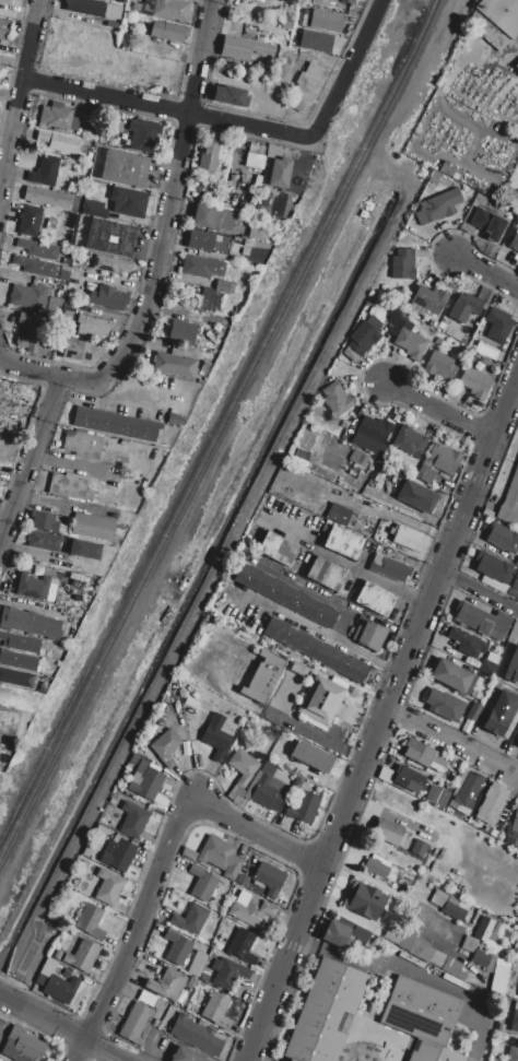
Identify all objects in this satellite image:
building: (13, 0)
building: (251, 0)
building: (258, 0)
building: (118, 1)
building: (5, 2)
building: (349, 2)
building: (85, 8)
building: (164, 9)
building: (501, 14)
building: (326, 21)
building: (111, 25)
building: (4, 30)
building: (167, 32)
building: (315, 42)
building: (243, 48)
railway: (414, 56)
building: (0, 58)
building: (517, 67)
building: (307, 86)
building: (229, 96)
road: (19, 98)
building: (58, 117)
road: (244, 125)
building: (107, 128)
building: (143, 134)
building: (59, 143)
building: (251, 152)
building: (209, 155)
building: (125, 168)
building: (44, 172)
building: (280, 173)
building: (46, 197)
building: (266, 199)
building: (119, 203)
building: (438, 207)
road: (167, 215)
building: (213, 217)
building: (30, 221)
building: (485, 223)
building: (256, 234)
building: (110, 237)
building: (208, 241)
building: (514, 243)
building: (256, 244)
building: (36, 249)
building: (244, 251)
building: (110, 264)
building: (402, 264)
building: (35, 267)
building: (201, 267)
road: (486, 272)
building: (63, 273)
building: (223, 287)
building: (28, 296)
building: (108, 298)
building: (210, 299)
building: (429, 299)
building: (55, 305)
building: (463, 308)
building: (32, 319)
building: (498, 326)
building: (93, 327)
building: (184, 331)
building: (362, 338)
building: (410, 342)
building: (33, 343)
building: (78, 350)
building: (486, 351)
building: (175, 364)
road: (26, 367)
building: (440, 367)
building: (474, 380)
building: (335, 399)
road: (440, 410)
building: (176, 420)
building: (115, 424)
building: (374, 429)
building: (409, 440)
building: (81, 443)
road: (31, 459)
building: (444, 459)
building: (357, 460)
building: (425, 475)
building: (69, 485)
railway: (193, 485)
building: (417, 496)
building: (510, 503)
building: (338, 515)
building: (48, 522)
building: (414, 524)
building: (93, 528)
building: (407, 538)
building: (503, 539)
building: (44, 541)
building: (341, 542)
building: (276, 549)
building: (85, 550)
building: (389, 554)
building: (517, 562)
building: (492, 567)
road: (348, 568)
building: (389, 568)
building: (326, 574)
building: (35, 588)
road: (480, 591)
building: (286, 596)
building: (375, 599)
building: (473, 618)
building: (30, 623)
road: (305, 624)
building: (369, 636)
building: (20, 643)
building: (467, 643)
building: (448, 649)
building: (315, 650)
building: (17, 661)
road: (388, 665)
building: (487, 668)
building: (513, 668)
building: (451, 675)
building: (263, 677)
building: (16, 679)
building: (321, 700)
building: (444, 705)
building: (473, 711)
building: (501, 712)
road: (382, 721)
building: (8, 722)
building: (219, 735)
road: (318, 739)
road: (454, 739)
building: (517, 746)
building: (166, 748)
building: (423, 755)
building: (311, 757)
building: (268, 768)
building: (240, 774)
building: (144, 779)
building: (408, 779)
building: (468, 786)
building: (269, 791)
building: (433, 793)
building: (443, 798)
building: (492, 804)
building: (304, 807)
building: (133, 820)
building: (513, 825)
road: (258, 833)
building: (390, 833)
building: (513, 840)
building: (419, 848)
building: (118, 854)
building: (216, 856)
building: (376, 865)
building: (268, 876)
building: (405, 879)
building: (242, 880)
building: (201, 883)
building: (108, 887)
road: (403, 898)
building: (439, 898)
building: (364, 900)
building: (455, 909)
building: (251, 911)
building: (89, 919)
building: (191, 919)
road: (137, 928)
building: (484, 929)
building: (360, 934)
building: (393, 934)
building: (337, 935)
building: (408, 939)
building: (469, 944)
building: (242, 945)
building: (177, 947)
building: (421, 951)
building: (84, 956)
building: (480, 958)
building: (447, 966)
road: (416, 974)
building: (229, 975)
building: (499, 977)
building: (167, 985)
building: (60, 989)
road: (11, 1001)
building: (216, 1011)
road: (364, 1011)
building: (326, 1013)
building: (422, 1018)
building: (515, 1019)
road: (55, 1023)
building: (137, 1024)
building: (196, 1035)
building: (22, 1046)
road: (106, 1050)
building: (513, 1054)
building: (185, 1056)

